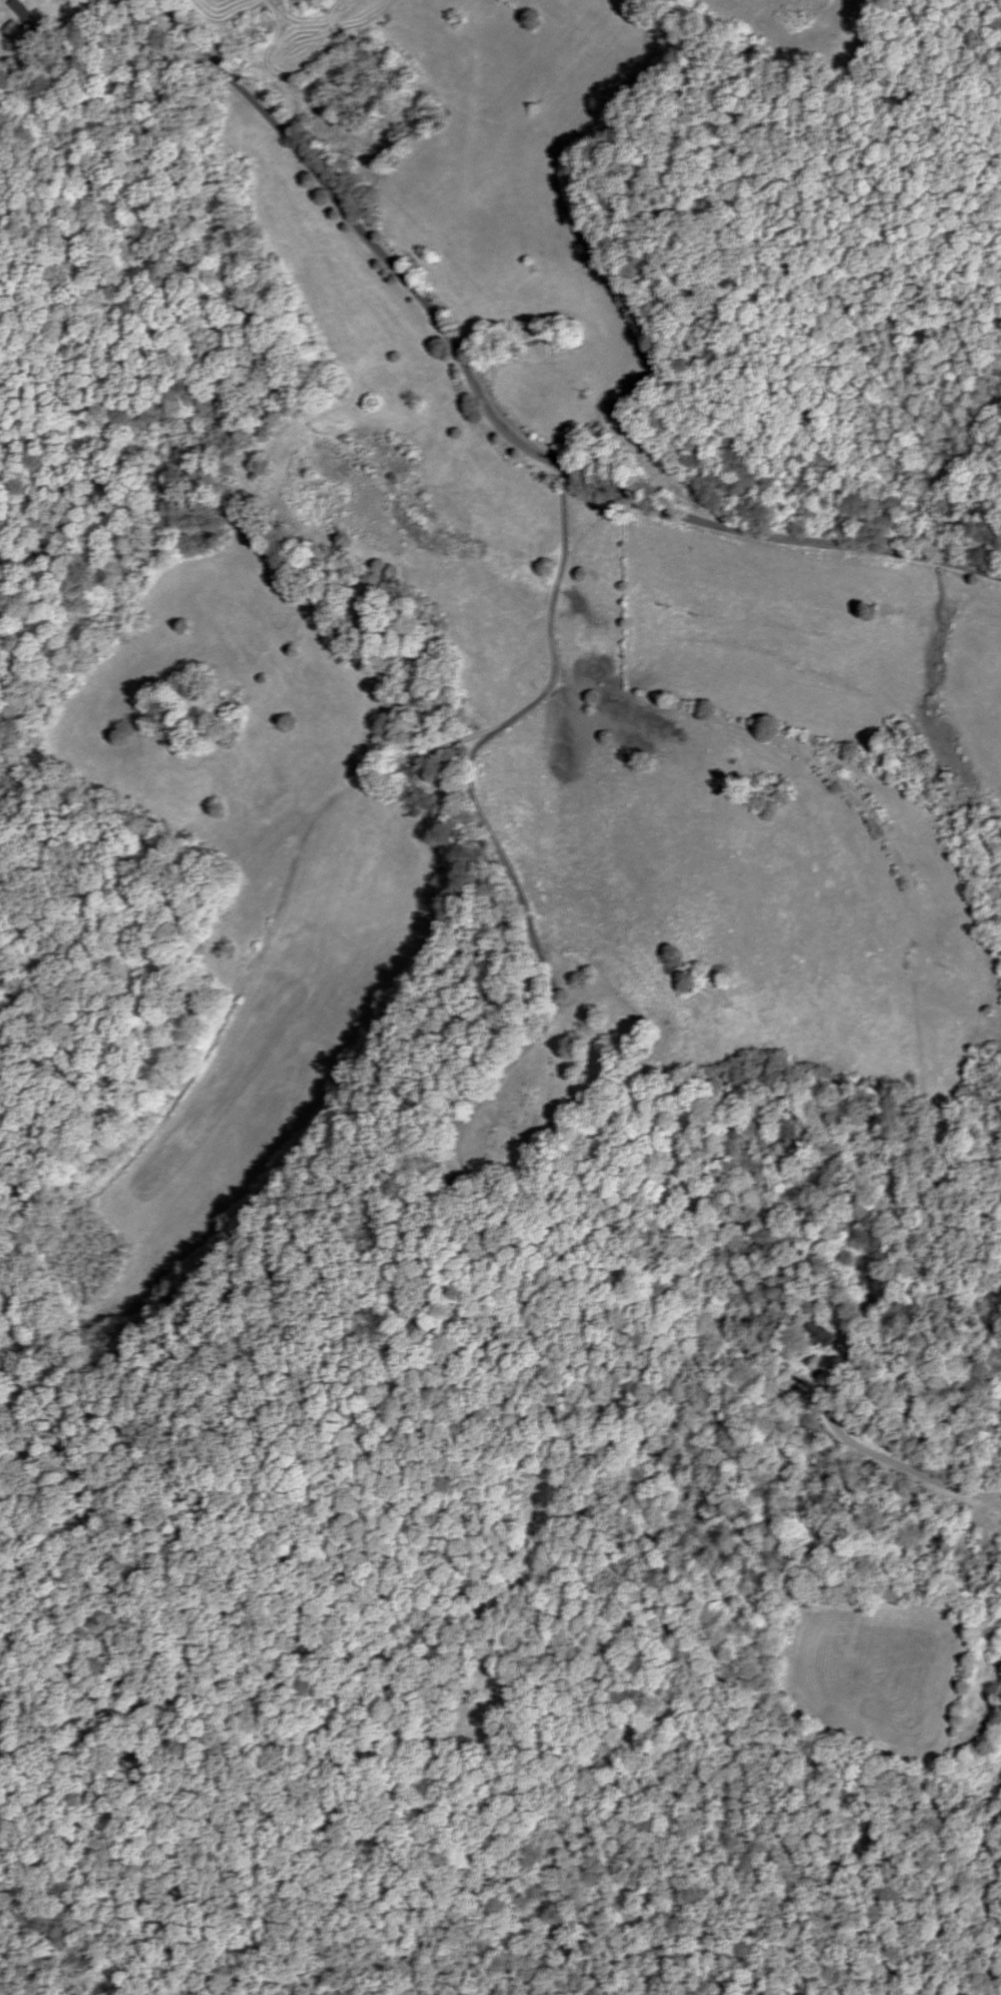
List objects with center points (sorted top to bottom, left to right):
building: (23, 14)
road: (492, 418)
road: (483, 819)
road: (274, 917)
road: (878, 1455)

